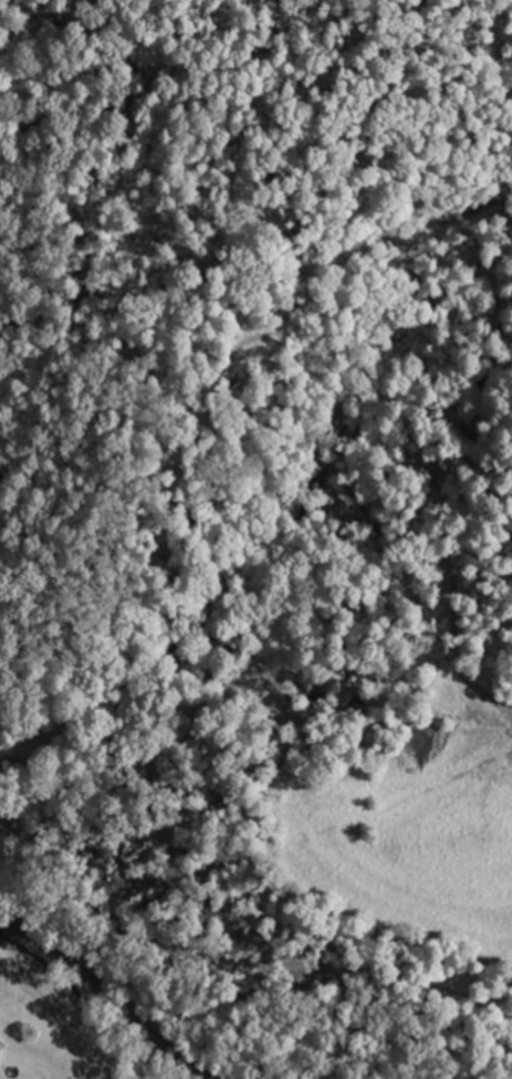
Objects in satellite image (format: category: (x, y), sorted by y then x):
road: (107, 996)
building: (1, 1048)

